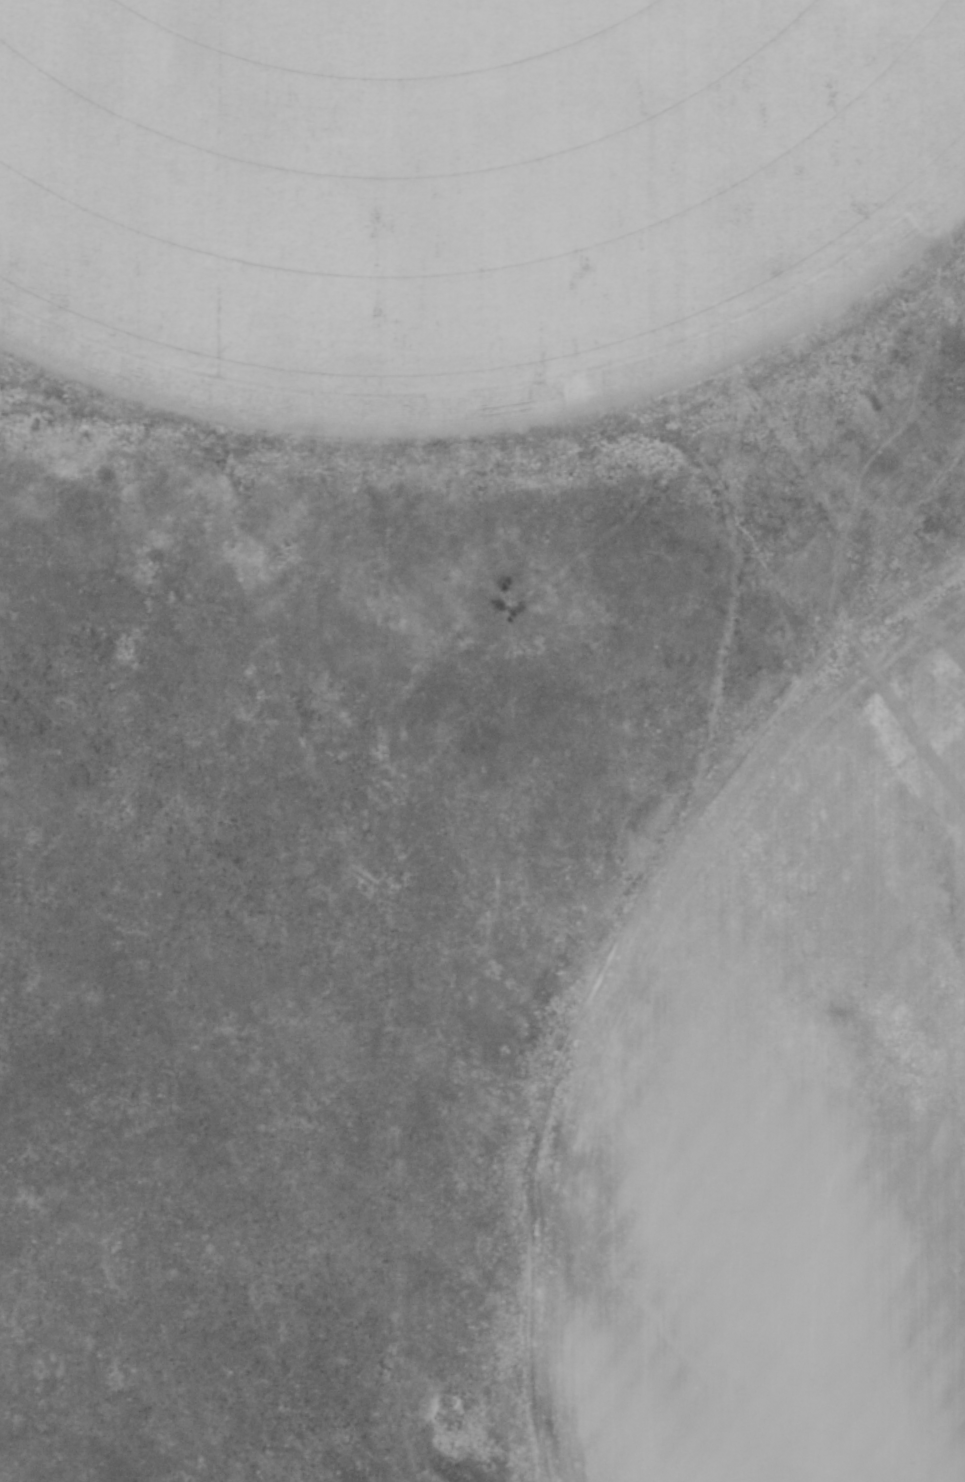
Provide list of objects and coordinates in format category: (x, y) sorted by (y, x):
crop: (456, 192)
crop: (784, 1115)

